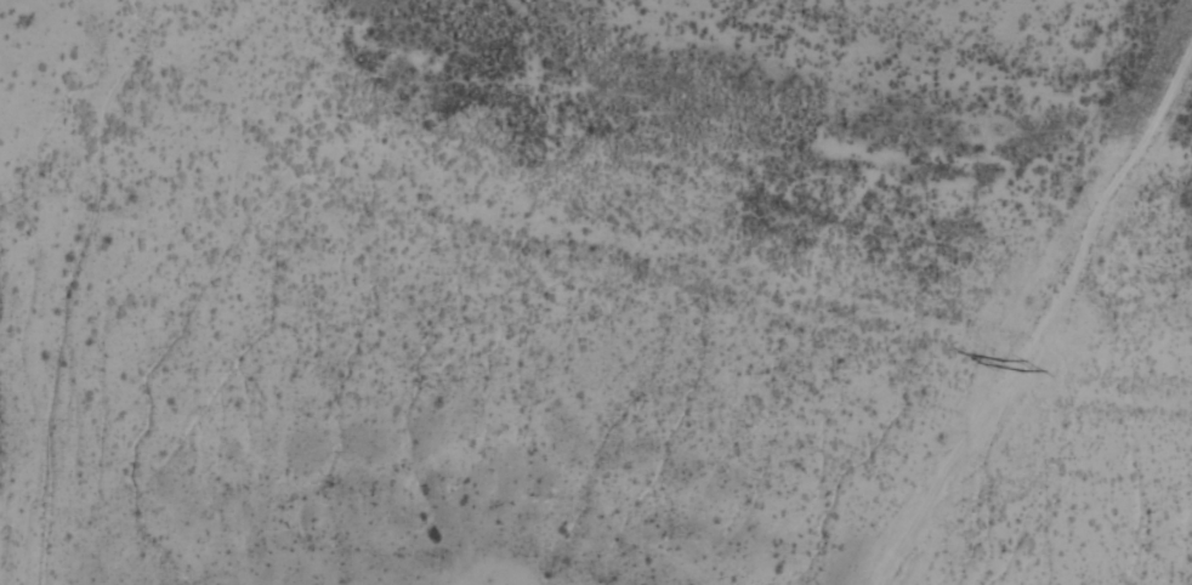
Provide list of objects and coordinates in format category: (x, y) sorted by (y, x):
power tower: (1005, 368)

